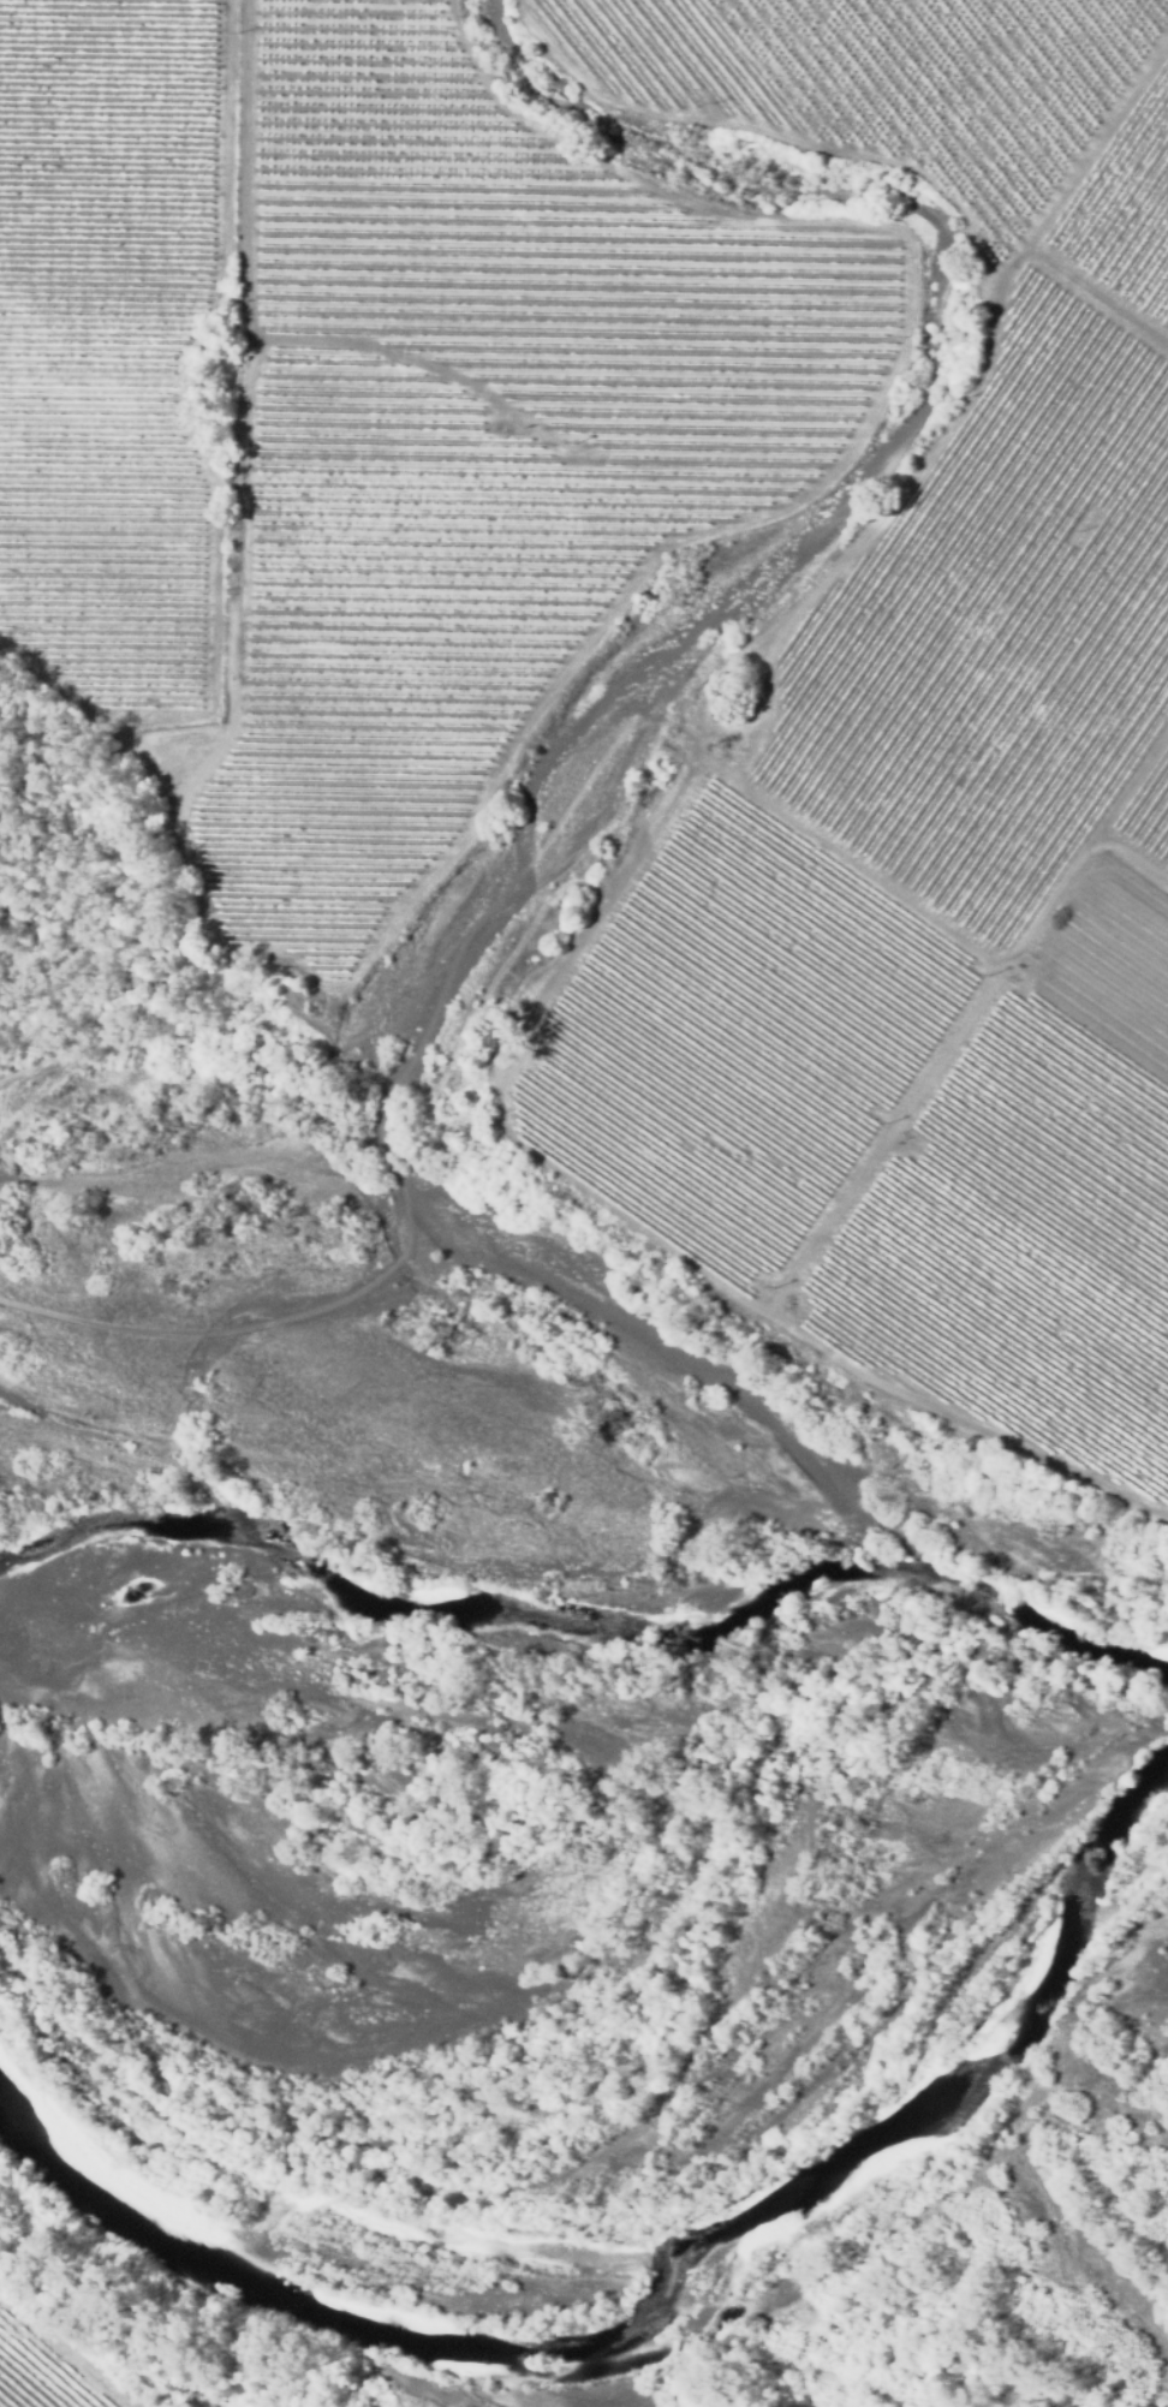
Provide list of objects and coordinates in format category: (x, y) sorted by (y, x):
river: (615, 1936)

